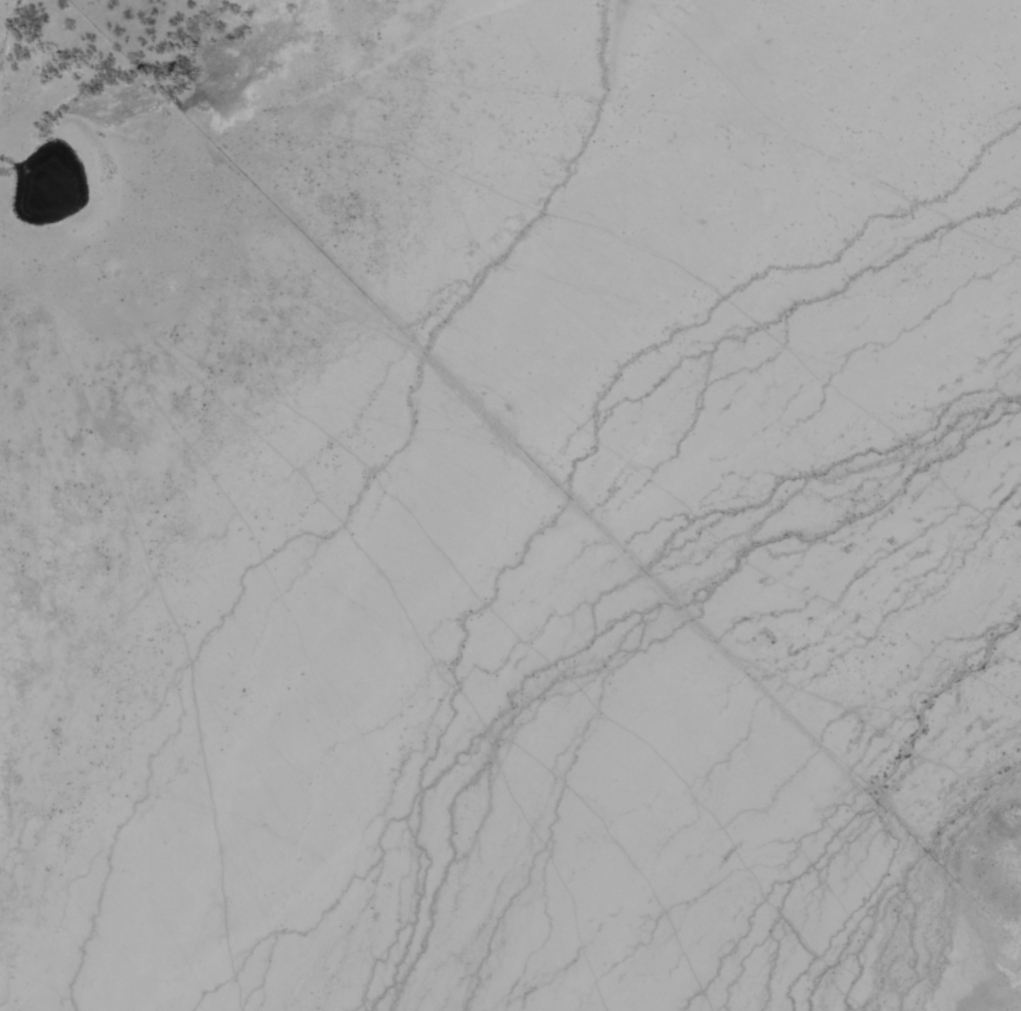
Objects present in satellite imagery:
river: (928, 762)
river: (844, 799)
river: (890, 867)

